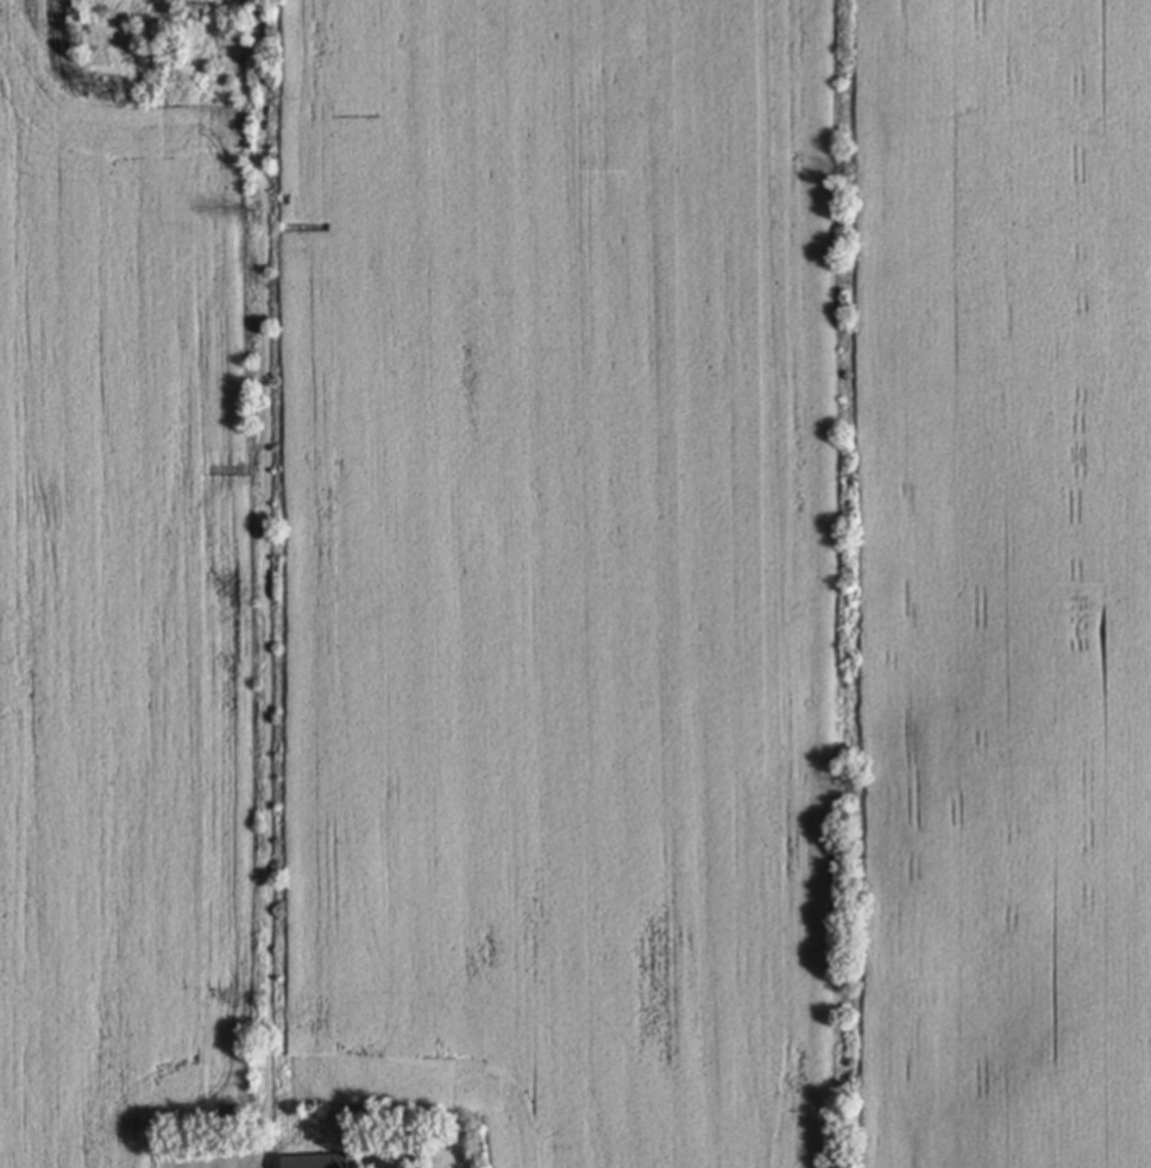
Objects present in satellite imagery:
building: (316, 1162)

